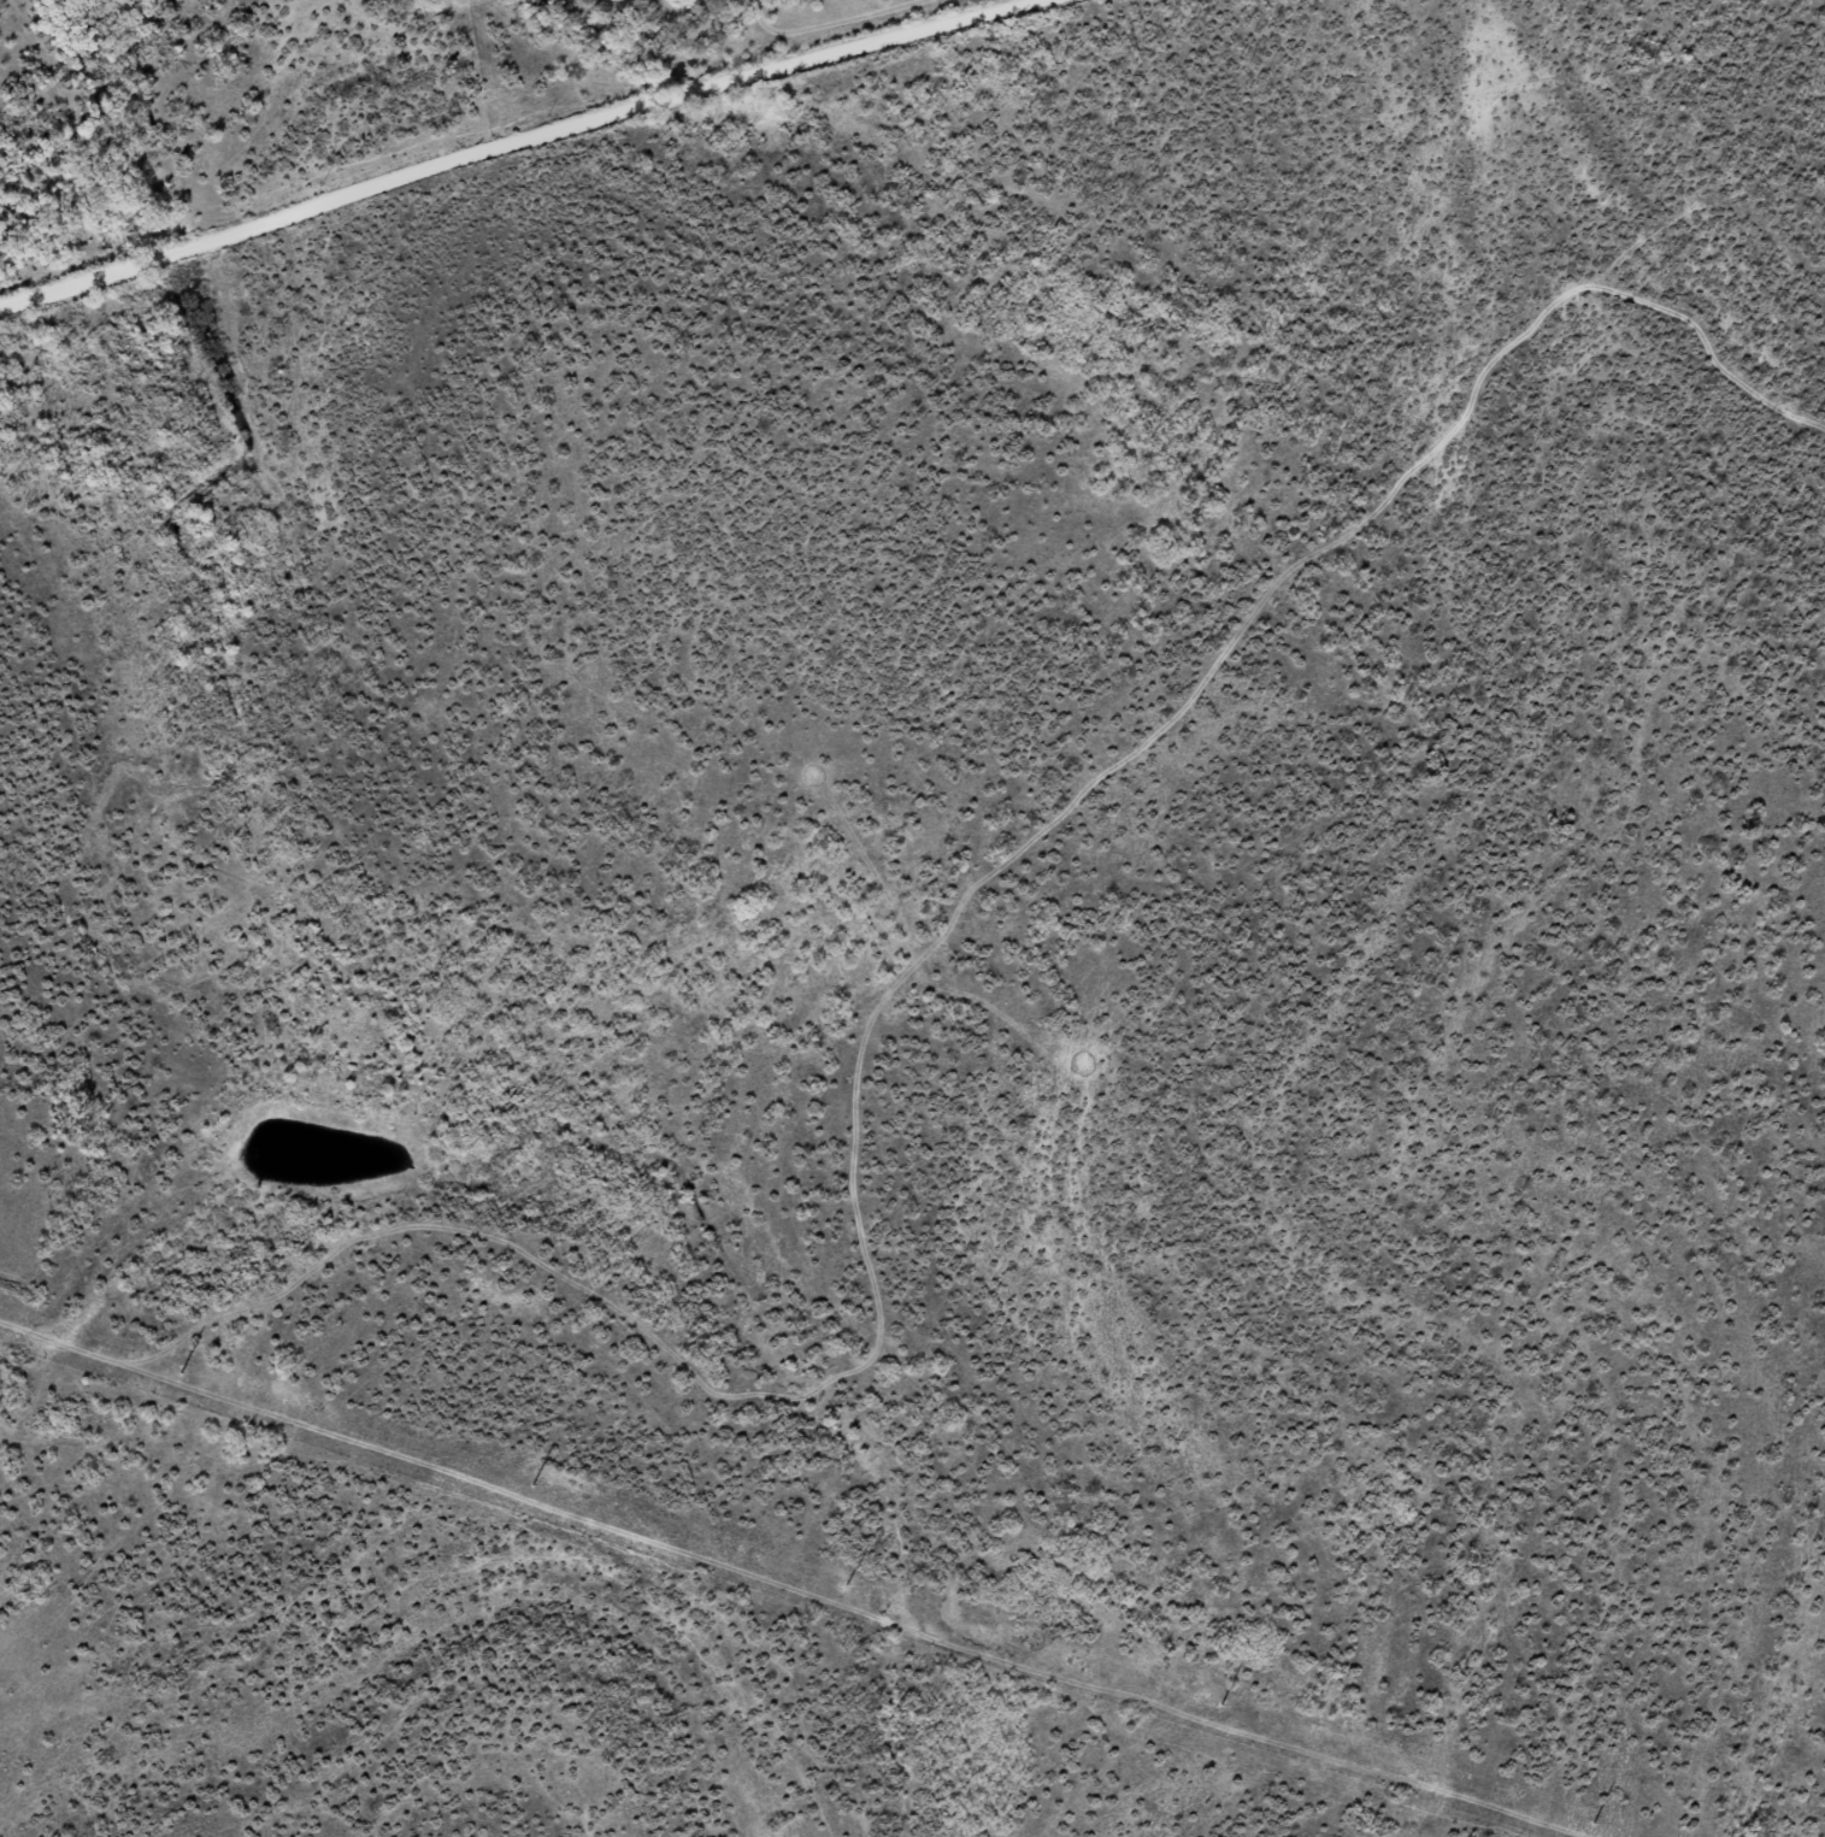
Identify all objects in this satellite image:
road: (500, 149)
power tower: (179, 1372)
power tower: (531, 1484)
power tower: (844, 1584)
power tower: (1220, 1704)
power tower: (1593, 1823)

